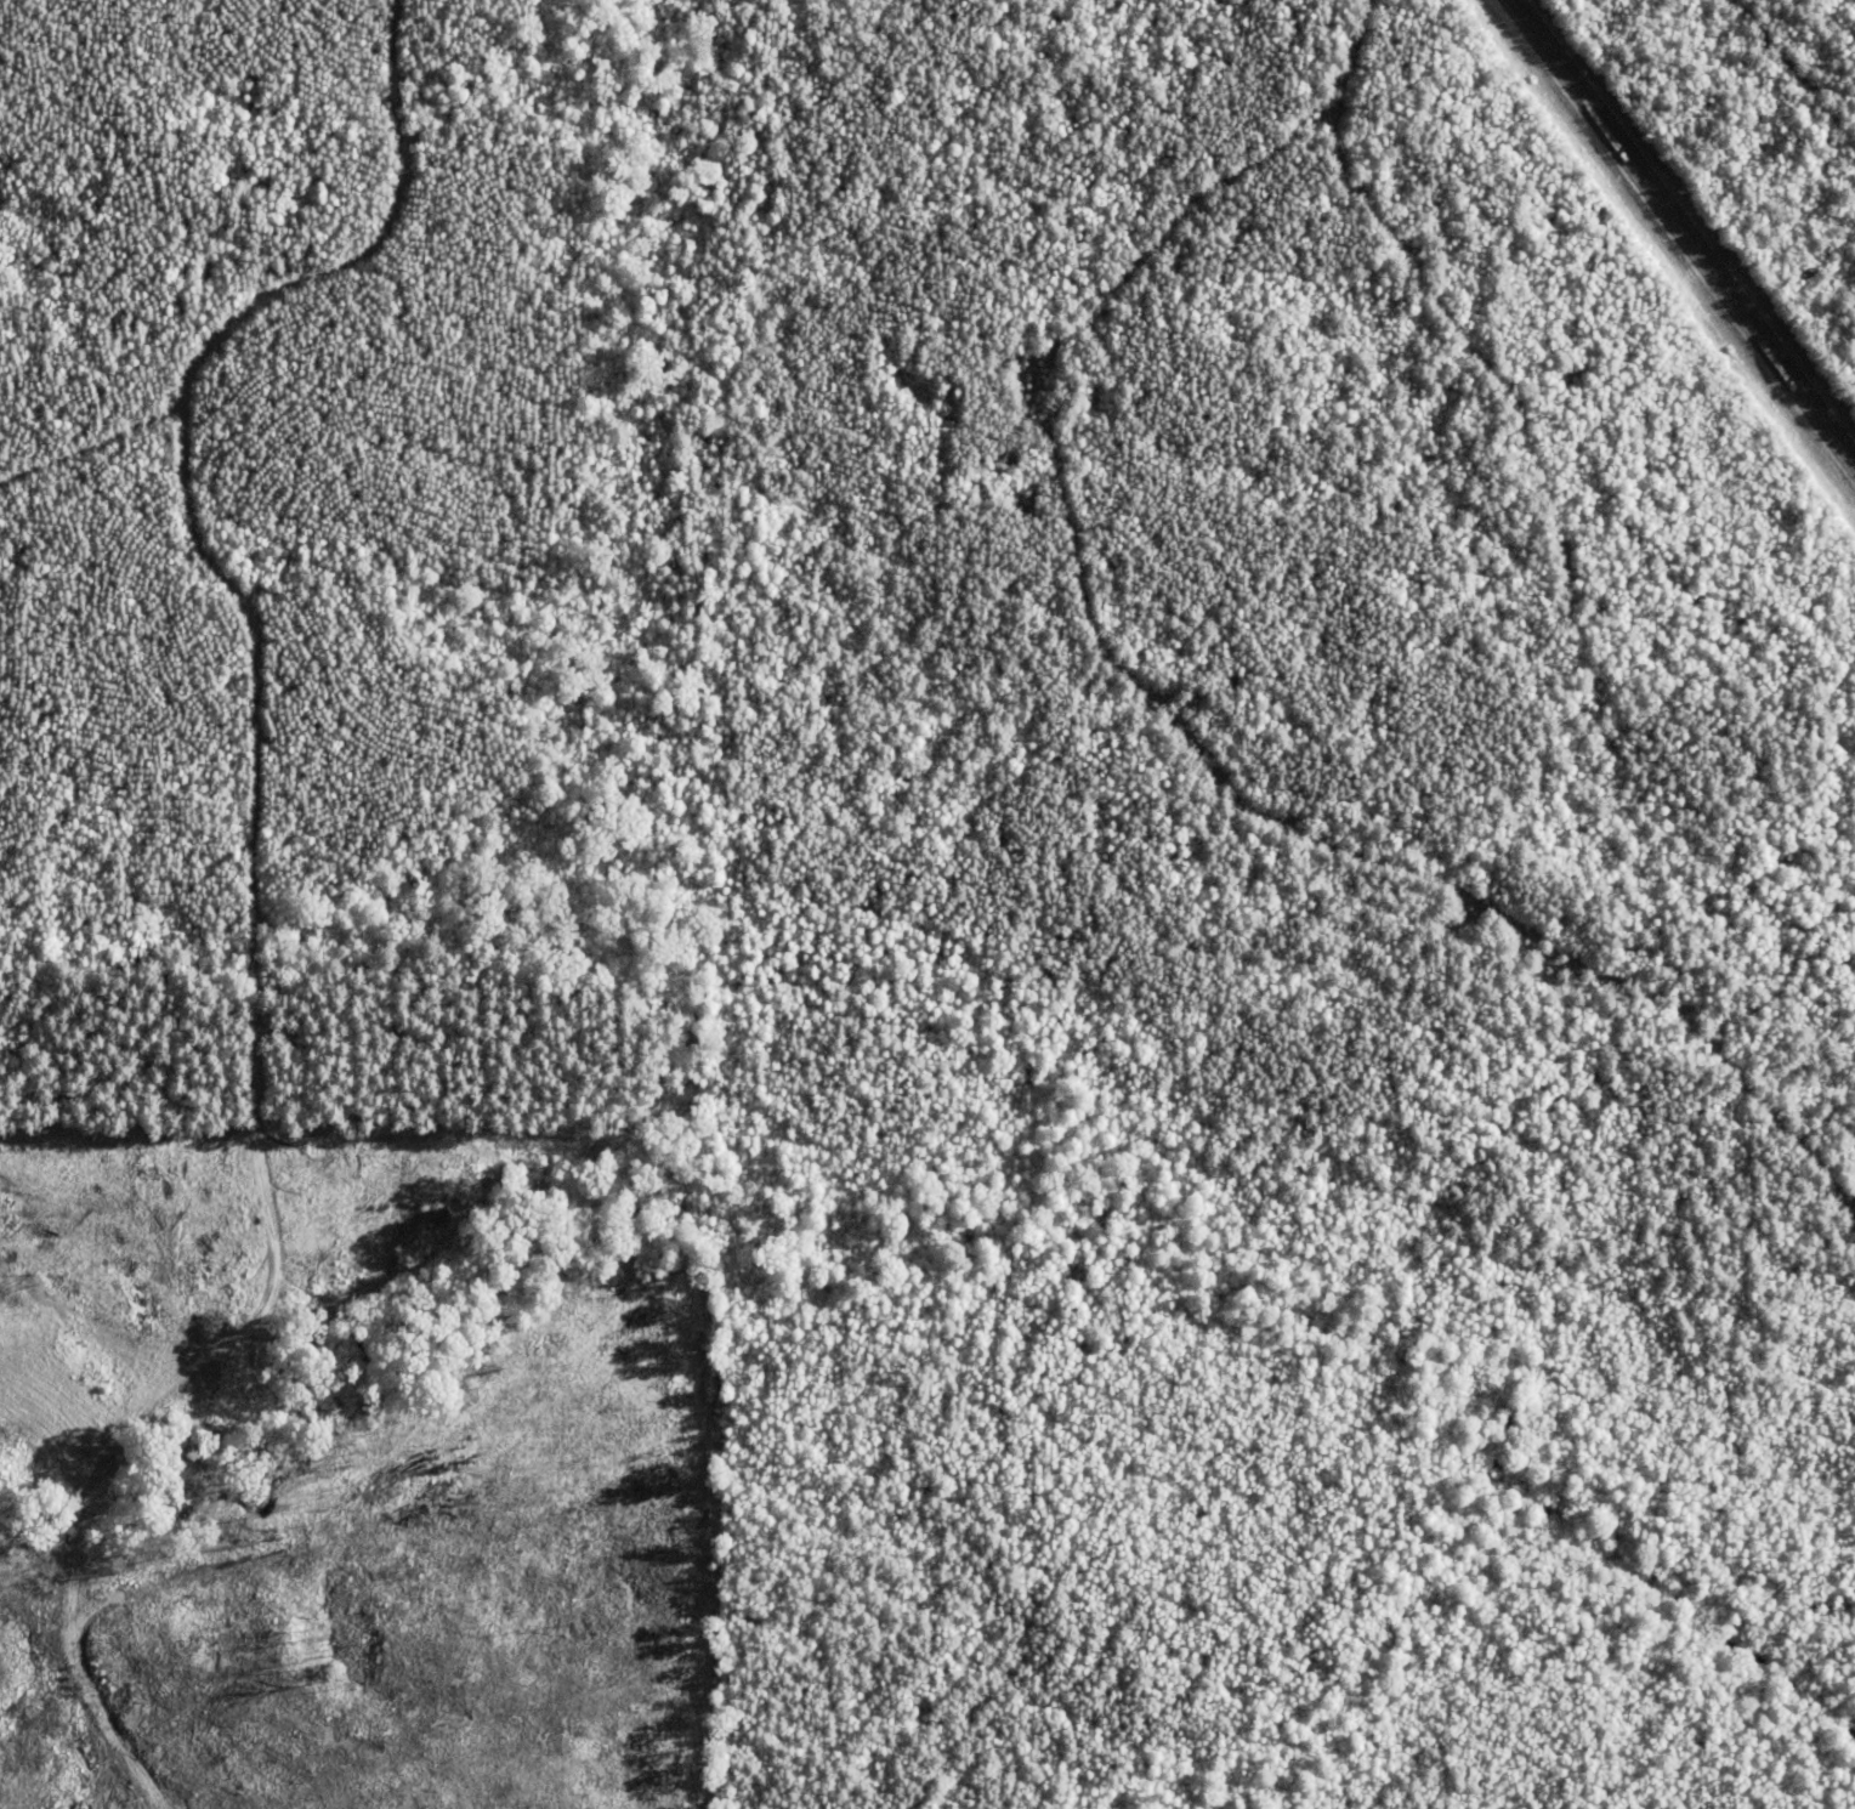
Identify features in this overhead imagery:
road: (1681, 234)

